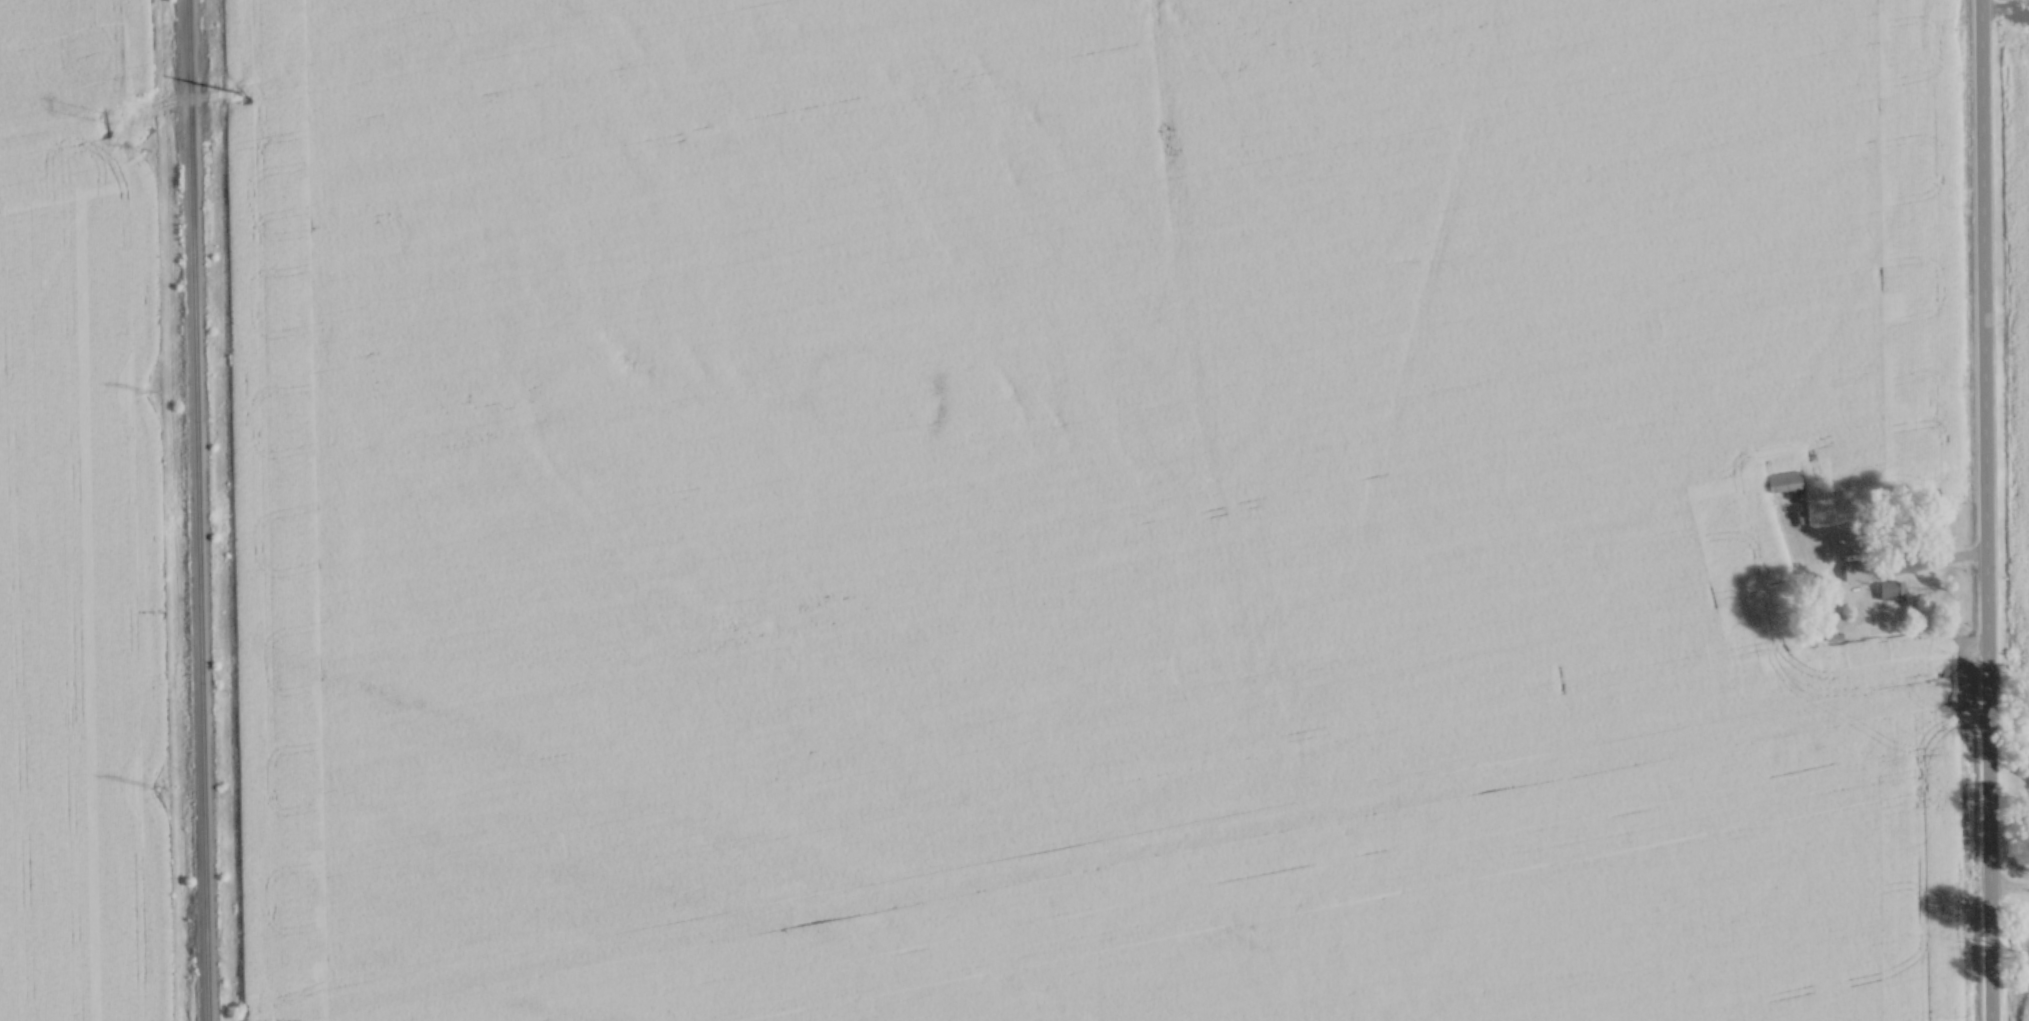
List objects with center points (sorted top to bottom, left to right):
power tower: (250, 88)
power tower: (119, 113)
power tower: (157, 146)
power tower: (162, 392)
building: (1782, 480)
railway: (198, 510)
road: (1984, 510)
road: (1915, 564)
building: (1890, 589)
power tower: (170, 784)
road: (2009, 889)

